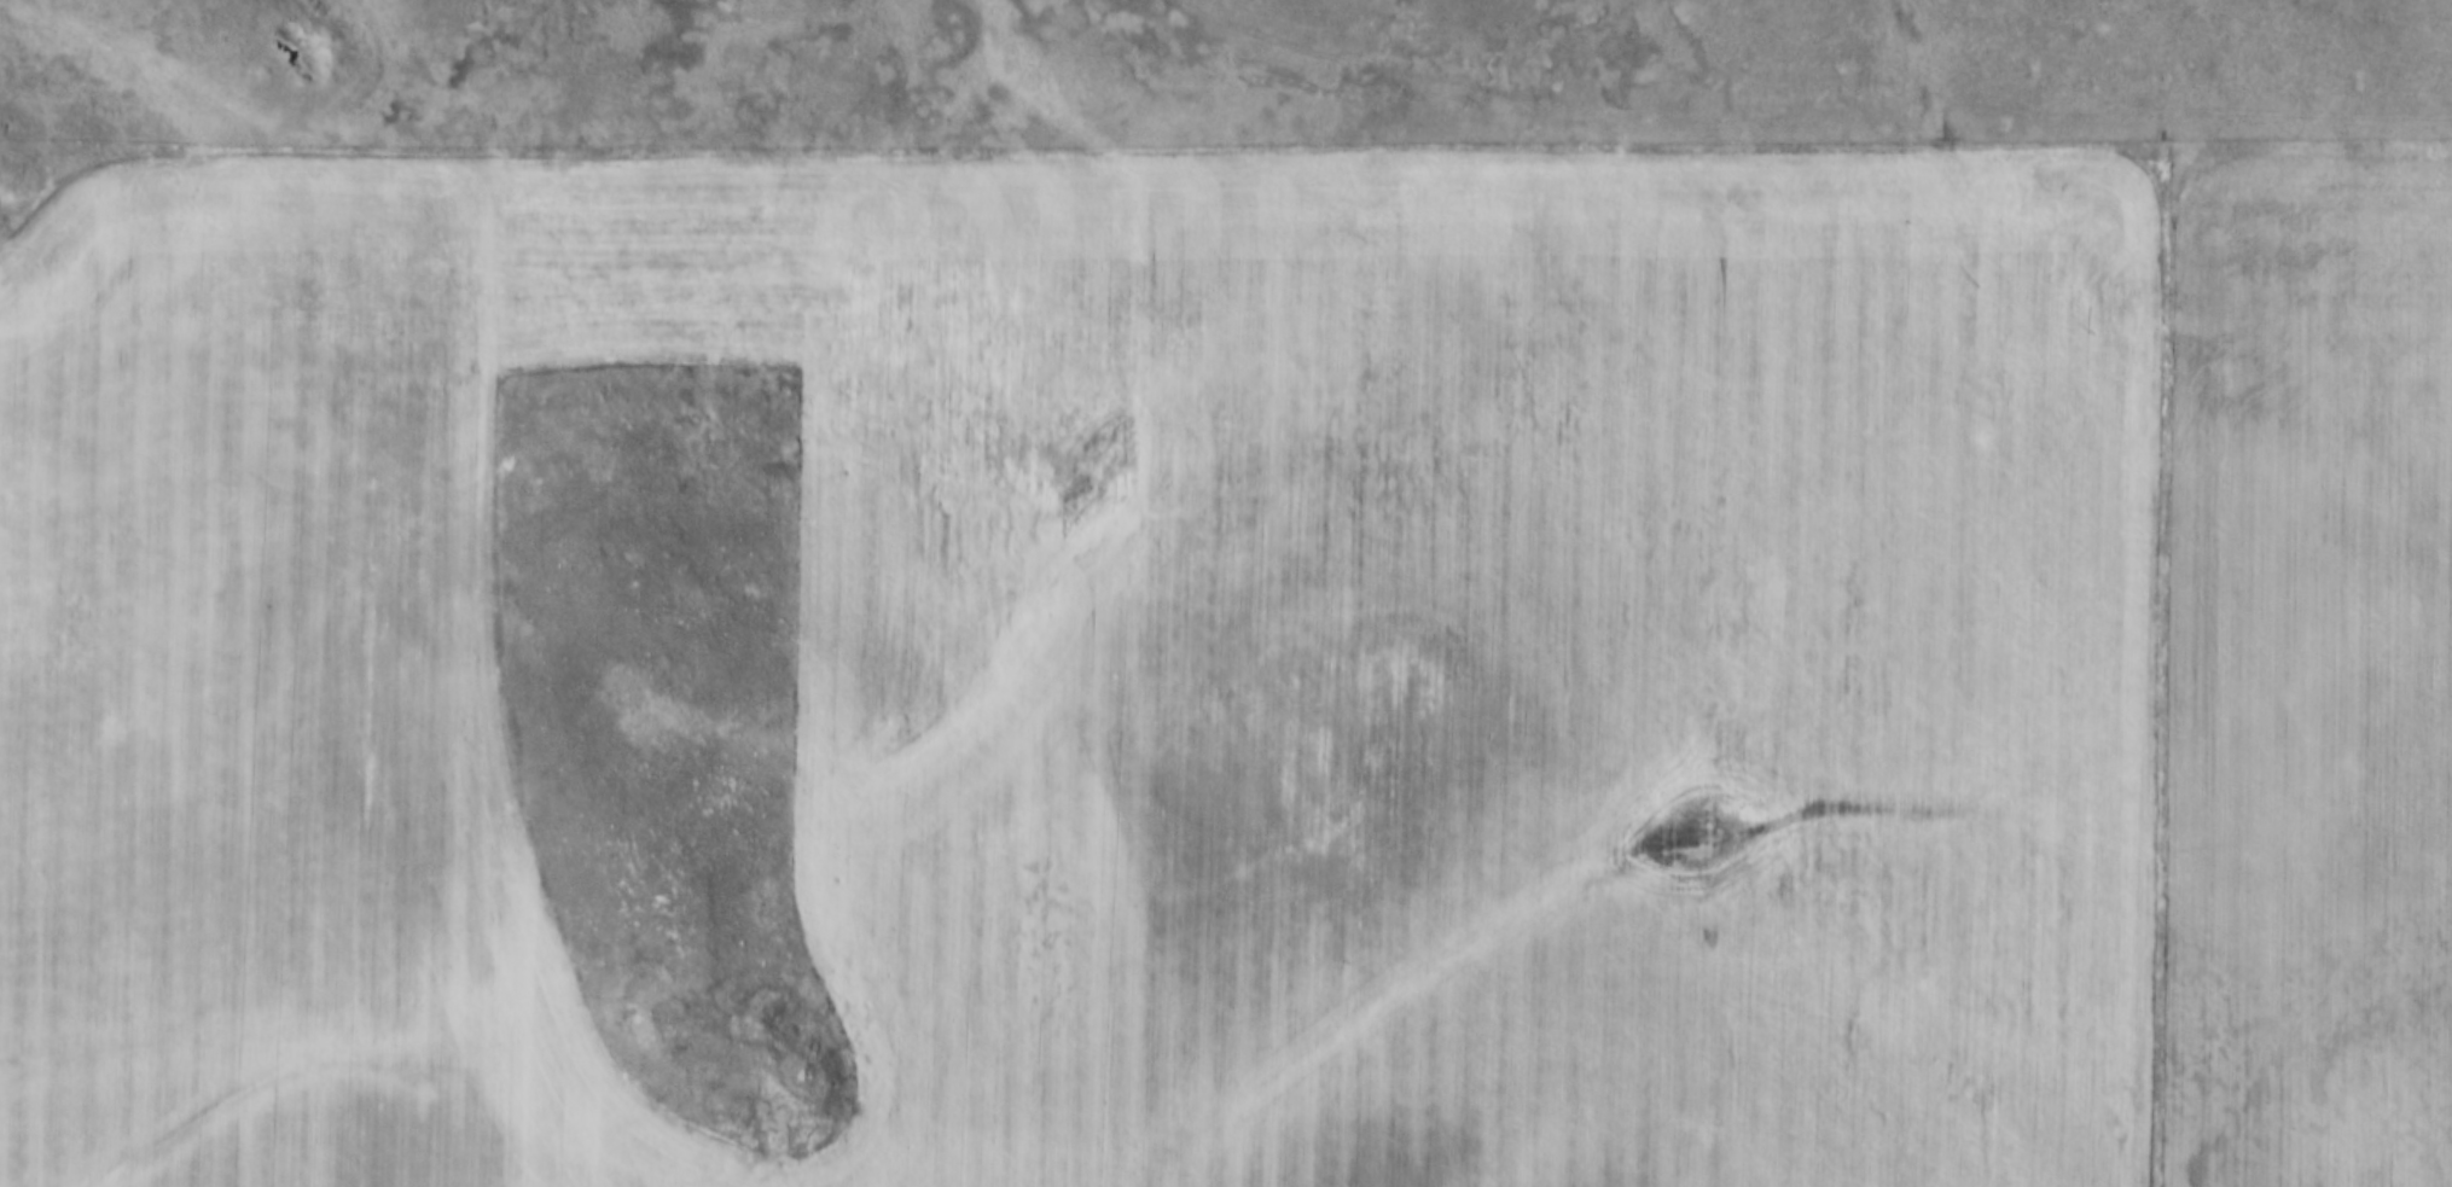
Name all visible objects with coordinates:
road: (2152, 670)

